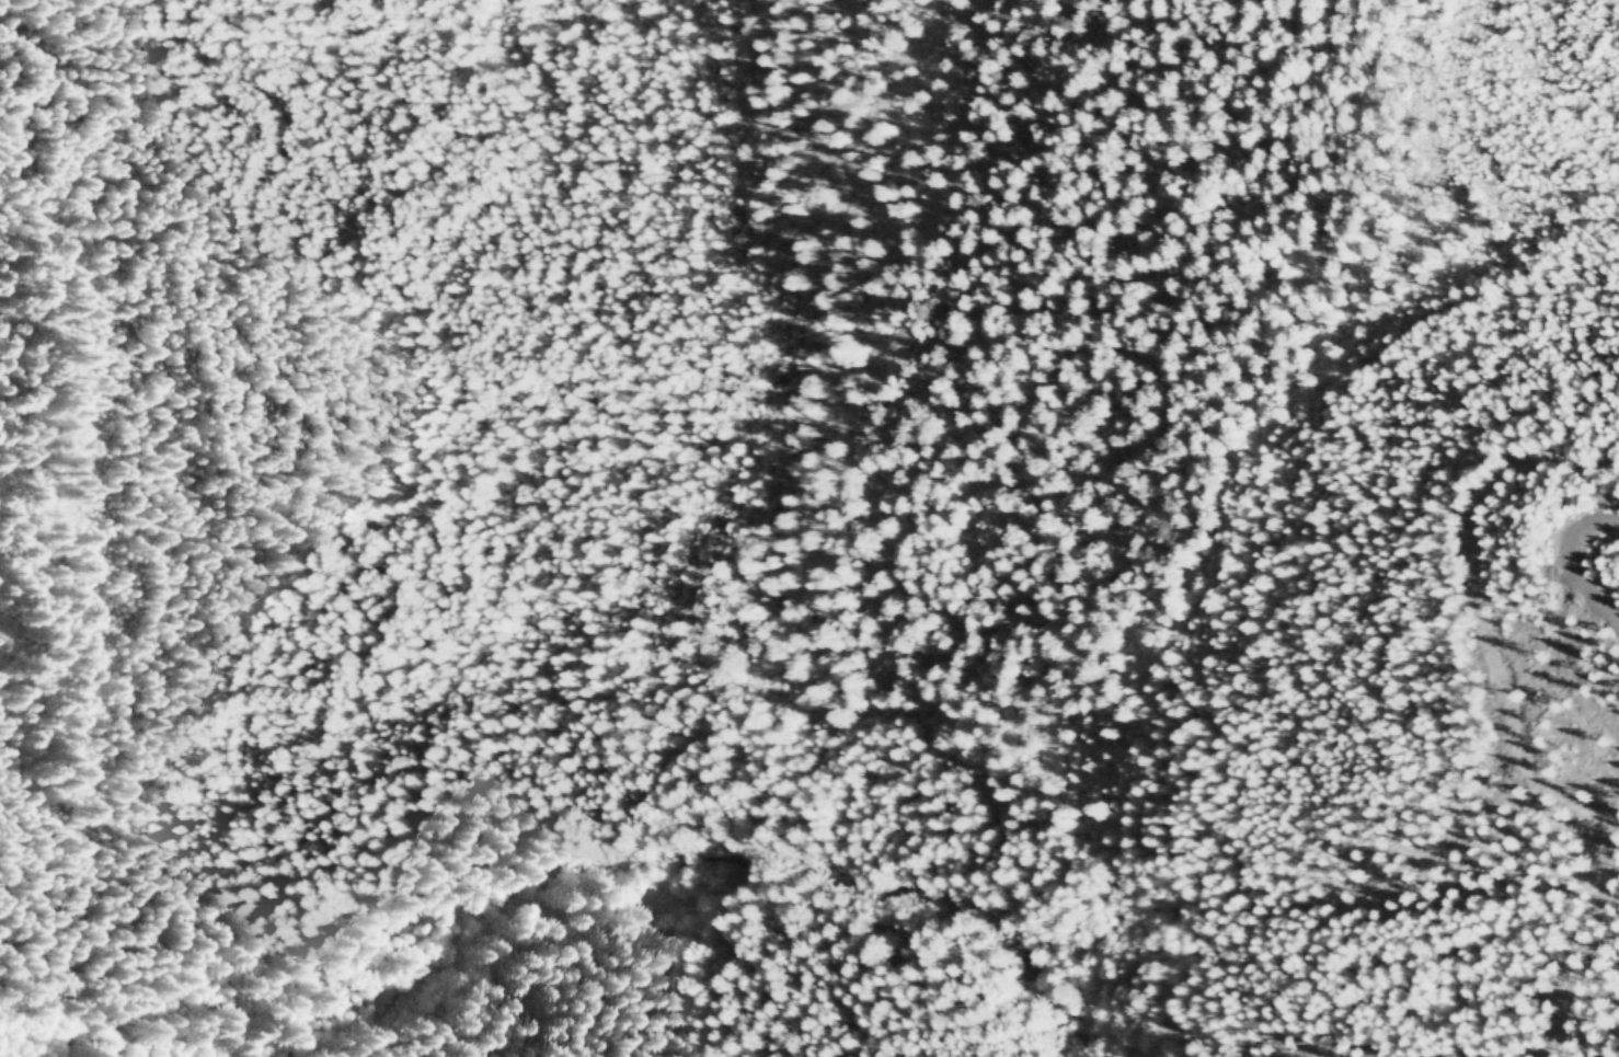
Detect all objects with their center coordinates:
road: (1575, 561)

